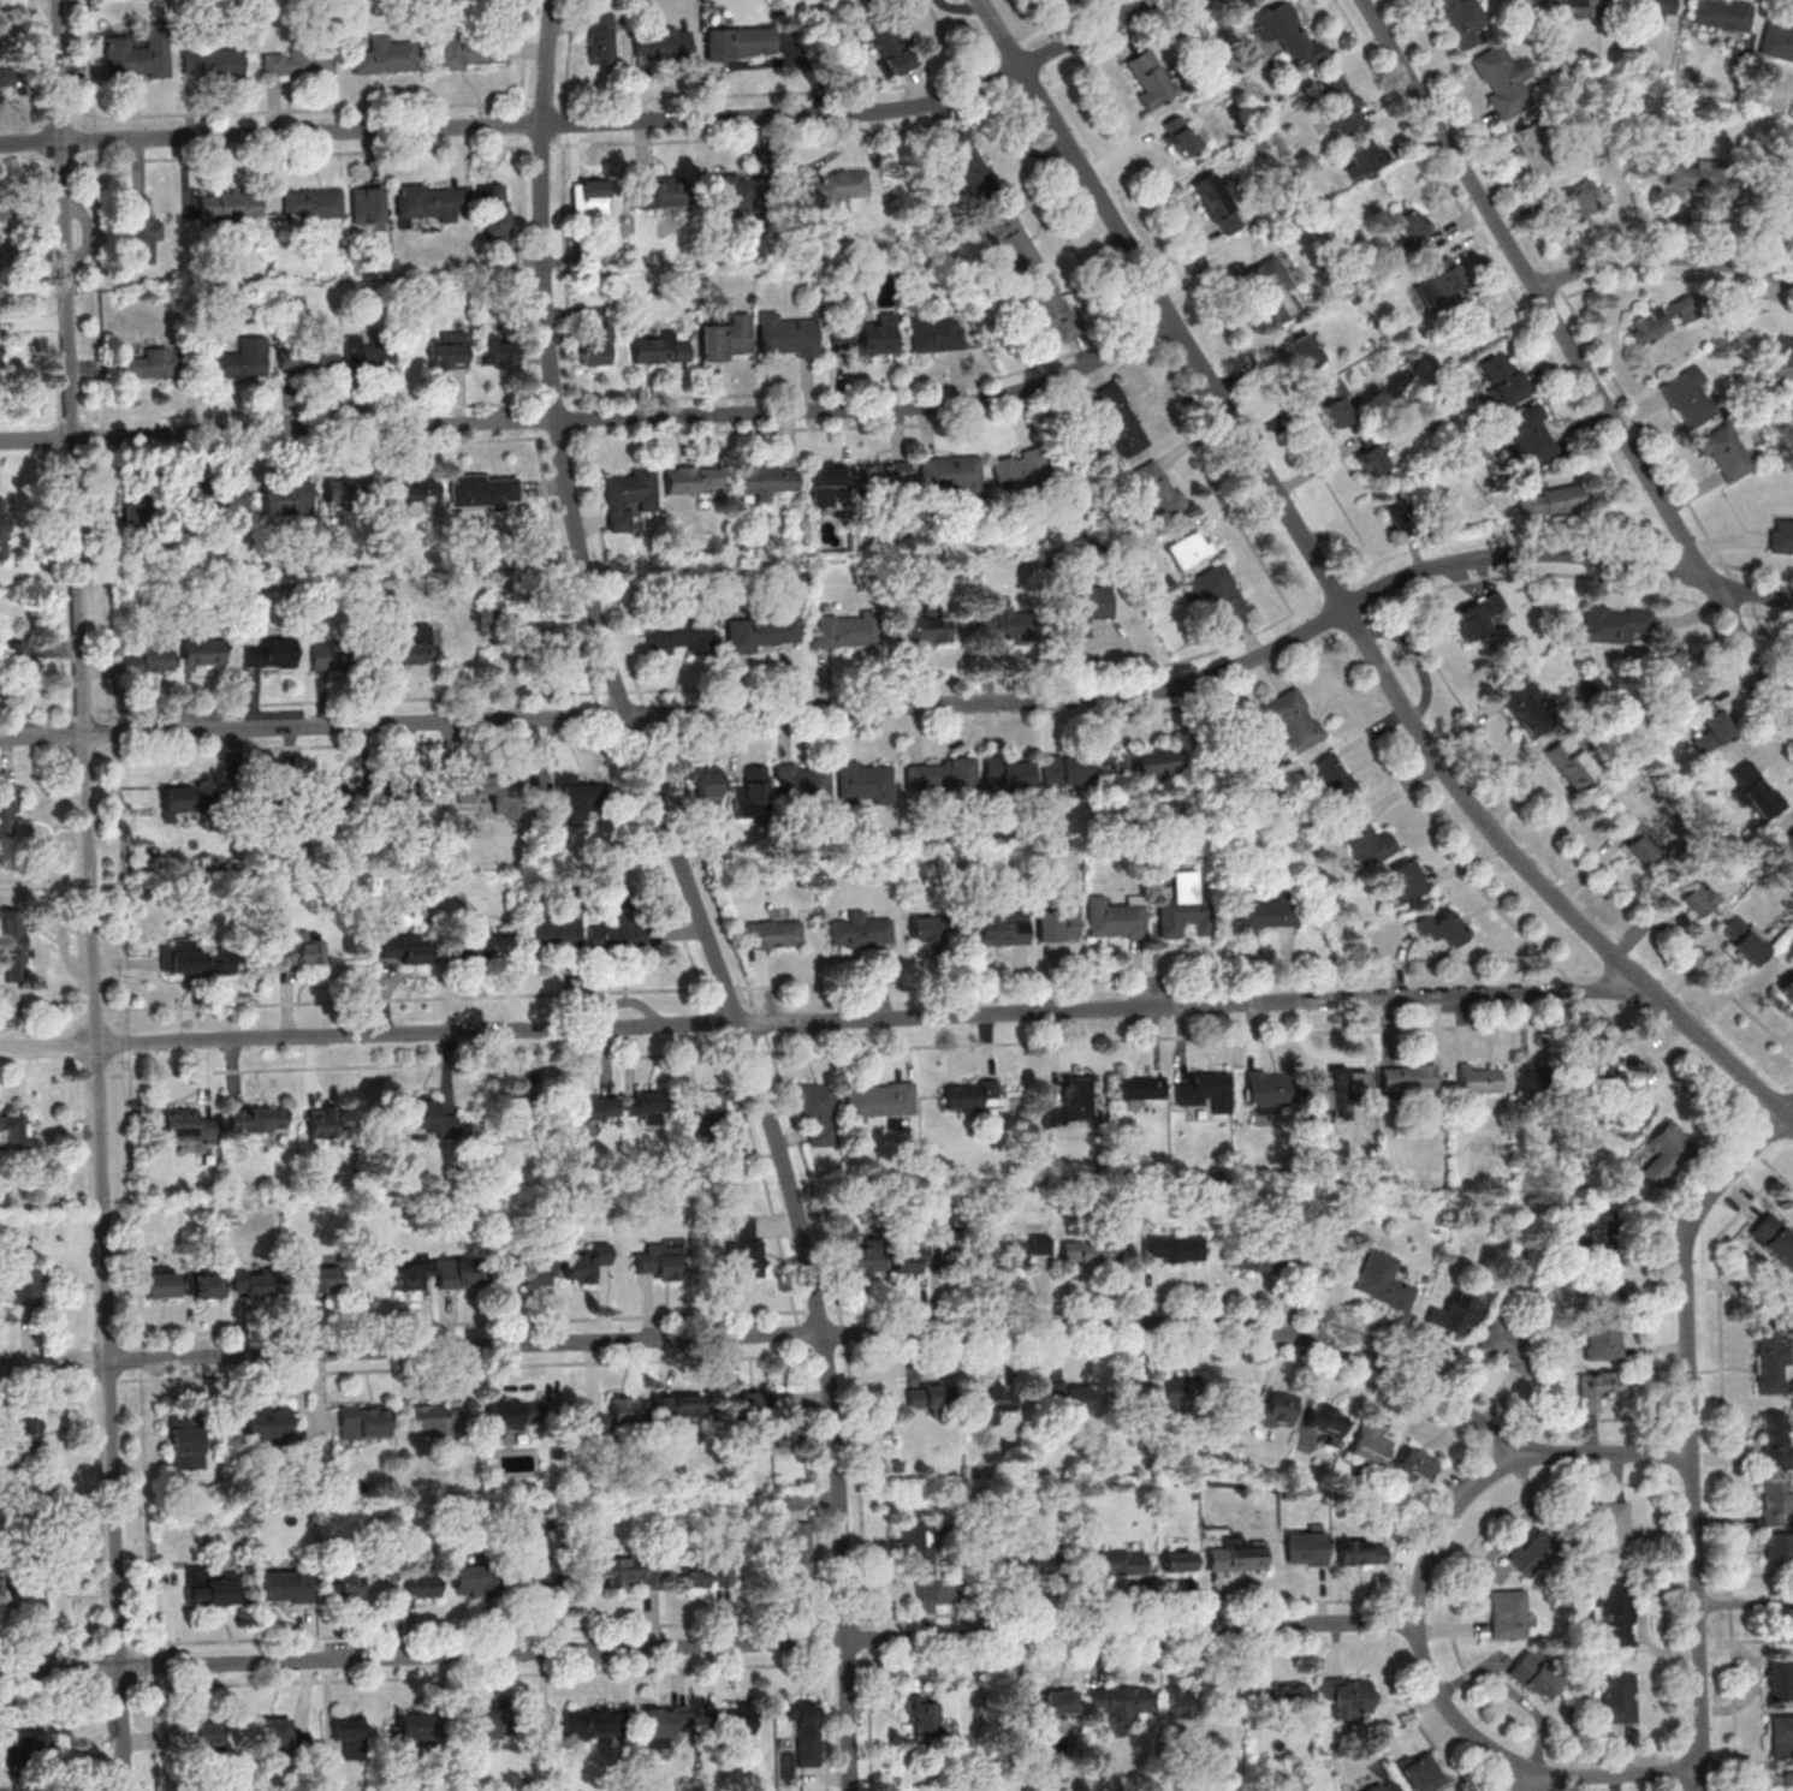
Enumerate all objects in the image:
building: (1575, 7)
building: (1647, 10)
building: (1721, 16)
building: (1461, 22)
building: (1288, 34)
building: (602, 38)
building: (1777, 41)
building: (661, 42)
building: (741, 43)
building: (890, 46)
building: (471, 53)
building: (138, 54)
building: (385, 56)
building: (212, 61)
building: (297, 61)
building: (2, 77)
building: (1151, 79)
building: (1502, 79)
building: (1337, 105)
road: (596, 125)
building: (1177, 136)
building: (1532, 148)
building: (1364, 157)
building: (966, 161)
building: (1708, 179)
building: (832, 188)
building: (728, 191)
building: (659, 192)
building: (589, 198)
building: (1577, 201)
building: (431, 202)
building: (311, 203)
building: (1217, 204)
building: (231, 206)
building: (367, 208)
building: (495, 210)
building: (1791, 212)
building: (1412, 225)
building: (142, 231)
building: (1011, 240)
road: (1662, 257)
building: (1439, 281)
building: (1271, 290)
building: (1049, 308)
building: (1652, 320)
building: (1468, 322)
building: (936, 334)
building: (868, 335)
building: (786, 337)
building: (726, 338)
building: (598, 347)
building: (660, 350)
building: (449, 351)
building: (1304, 351)
building: (499, 352)
building: (1785, 352)
building: (368, 353)
building: (307, 356)
building: (239, 359)
road: (1577, 359)
building: (148, 364)
building: (1501, 377)
building: (1687, 398)
building: (1338, 405)
building: (1118, 420)
road: (595, 422)
building: (1531, 436)
building: (1724, 453)
building: (1370, 459)
building: (1019, 468)
building: (950, 476)
building: (884, 478)
building: (693, 480)
building: (766, 480)
building: (826, 483)
building: (1153, 489)
building: (348, 490)
building: (485, 490)
building: (414, 492)
building: (224, 498)
building: (287, 498)
building: (627, 499)
building: (1549, 500)
building: (136, 525)
building: (2, 528)
building: (1781, 536)
building: (1189, 549)
road: (1371, 559)
building: (1217, 595)
road: (1337, 597)
road: (1287, 607)
building: (1086, 608)
building: (1476, 617)
building: (1004, 624)
building: (1616, 624)
building: (922, 627)
building: (844, 630)
building: (759, 632)
building: (682, 636)
building: (552, 637)
building: (411, 644)
building: (203, 653)
building: (269, 653)
building: (26, 655)
building: (329, 655)
building: (152, 656)
building: (1680, 673)
road: (913, 707)
building: (1521, 708)
building: (1292, 719)
building: (1709, 725)
building: (1573, 762)
building: (1146, 766)
building: (1004, 772)
building: (1065, 772)
building: (1332, 777)
building: (939, 778)
building: (863, 780)
building: (706, 783)
building: (801, 786)
building: (408, 791)
building: (1755, 791)
building: (497, 793)
building: (749, 793)
building: (577, 796)
building: (179, 799)
building: (337, 801)
building: (6, 811)
building: (1640, 837)
building: (1364, 840)
building: (1788, 840)
road: (1464, 861)
building: (1406, 880)
road: (90, 894)
road: (693, 894)
building: (1693, 894)
building: (1186, 904)
building: (1265, 914)
building: (1116, 915)
building: (1056, 921)
building: (1001, 922)
building: (933, 927)
building: (1443, 927)
building: (857, 928)
building: (553, 930)
building: (623, 932)
building: (771, 933)
building: (1745, 939)
building: (12, 946)
building: (480, 946)
building: (298, 951)
building: (404, 952)
building: (182, 957)
building: (1787, 987)
road: (824, 1019)
building: (1408, 1077)
building: (1532, 1077)
building: (1479, 1078)
building: (1604, 1078)
building: (1140, 1087)
building: (1332, 1087)
building: (1206, 1089)
building: (1261, 1090)
building: (972, 1096)
building: (880, 1100)
building: (710, 1102)
building: (1071, 1102)
building: (526, 1105)
building: (646, 1105)
building: (595, 1106)
building: (818, 1109)
building: (1635, 1112)
building: (257, 1117)
building: (426, 1120)
building: (322, 1121)
building: (188, 1123)
building: (14, 1132)
road: (1752, 1148)
building: (1666, 1152)
road: (1776, 1170)
building: (1602, 1230)
building: (1775, 1237)
building: (743, 1248)
building: (1174, 1248)
building: (859, 1249)
building: (1021, 1251)
building: (1091, 1251)
building: (1271, 1257)
building: (909, 1259)
building: (663, 1260)
building: (586, 1261)
building: (539, 1271)
building: (410, 1272)
building: (461, 1272)
building: (316, 1275)
building: (161, 1280)
building: (251, 1281)
building: (1383, 1281)
building: (207, 1284)
building: (18, 1285)
building: (1601, 1293)
building: (1456, 1313)
road: (777, 1333)
building: (1603, 1341)
building: (1504, 1345)
building: (1771, 1362)
building: (1597, 1388)
building: (1132, 1392)
building: (1183, 1393)
building: (930, 1397)
building: (1069, 1399)
building: (996, 1403)
building: (748, 1404)
building: (677, 1409)
building: (1277, 1409)
building: (513, 1415)
building: (786, 1416)
building: (615, 1418)
building: (435, 1420)
building: (269, 1421)
road: (1693, 1421)
building: (364, 1422)
building: (1325, 1422)
road: (311, 1430)
building: (22, 1434)
building: (186, 1440)
building: (1775, 1440)
building: (1369, 1442)
building: (1418, 1462)
road: (1724, 1469)
building: (1775, 1500)
building: (1611, 1527)
building: (1779, 1545)
building: (918, 1548)
building: (1306, 1548)
building: (797, 1551)
building: (1361, 1552)
building: (1532, 1552)
building: (1239, 1554)
building: (1178, 1560)
building: (1116, 1561)
building: (1033, 1563)
building: (699, 1571)
building: (538, 1572)
building: (628, 1572)
road: (1761, 1575)
building: (354, 1578)
building: (476, 1578)
building: (423, 1582)
building: (210, 1585)
building: (287, 1585)
building: (31, 1594)
building: (1614, 1613)
building: (1510, 1616)
road: (1413, 1619)
road: (1746, 1640)
road: (706, 1648)
building: (1534, 1674)
building: (1780, 1679)
building: (1280, 1694)
building: (1349, 1697)
building: (1617, 1697)
building: (1051, 1702)
building: (1120, 1702)
building: (1182, 1703)
building: (665, 1719)
building: (925, 1720)
building: (593, 1721)
building: (730, 1721)
building: (487, 1724)
building: (420, 1730)
building: (805, 1730)
building: (206, 1732)
building: (349, 1735)
building: (281, 1737)
building: (1781, 1737)
building: (34, 1748)
building: (1420, 1772)
road: (1705, 1781)
building: (1788, 1781)
road: (1543, 1785)
building: (1382, 1786)

